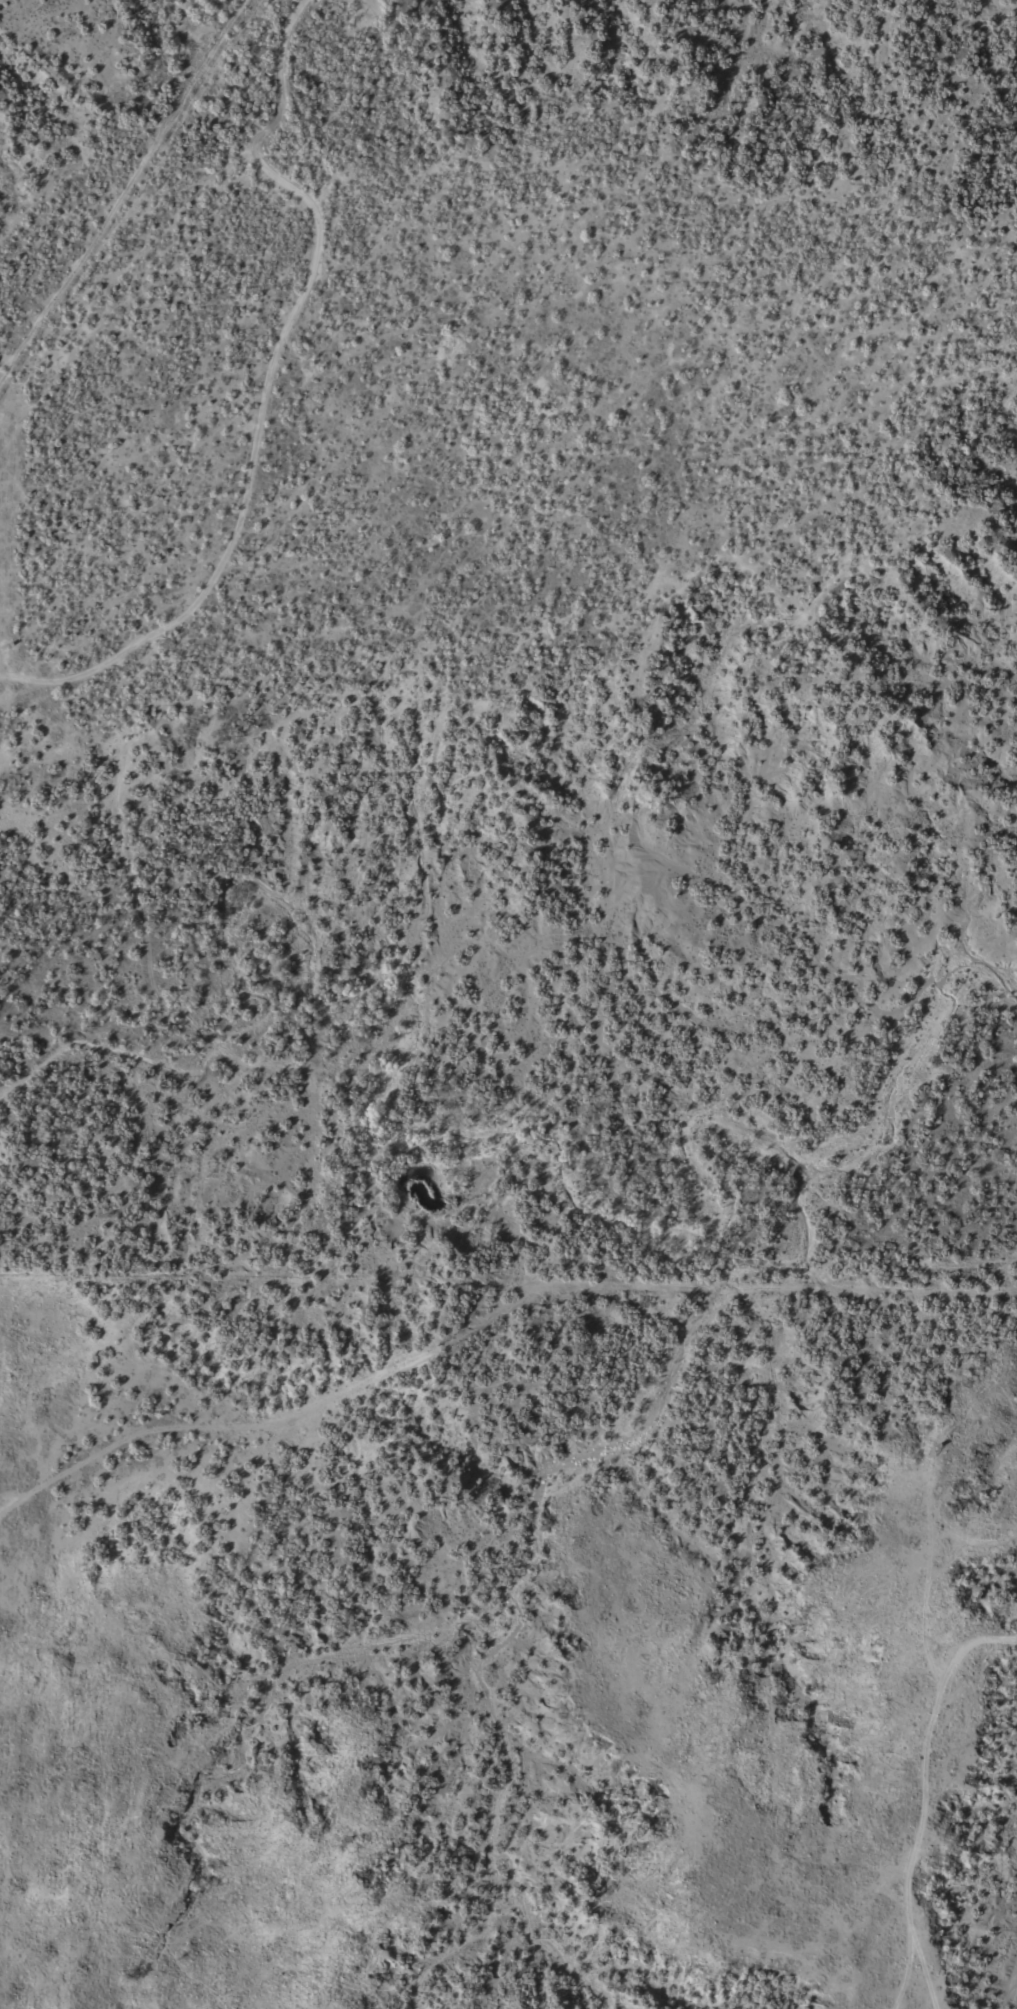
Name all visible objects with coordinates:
road: (57, 281)
road: (203, 342)

